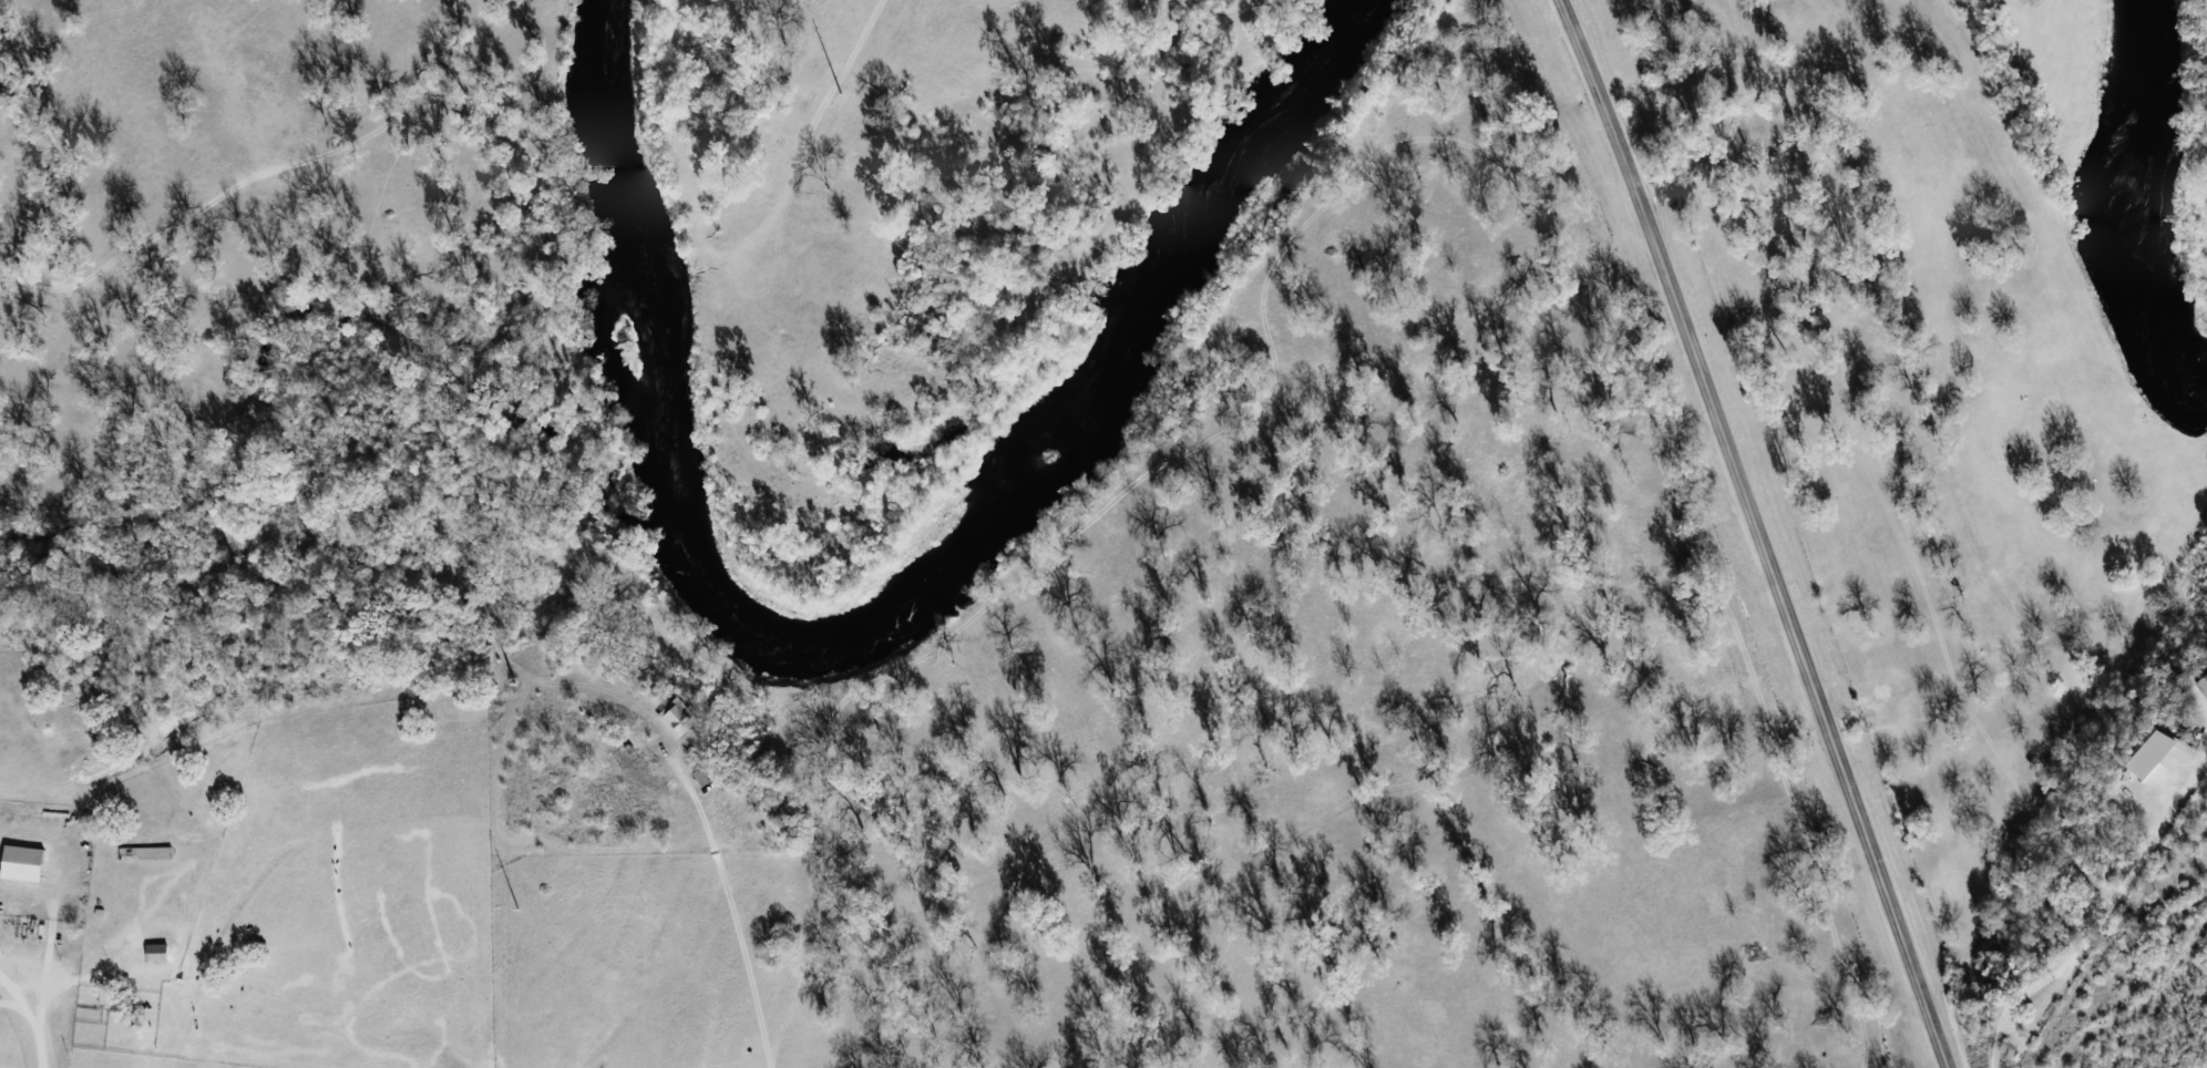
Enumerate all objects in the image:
power tower: (841, 95)
river: (2134, 187)
road: (1761, 532)
river: (884, 608)
power tower: (514, 684)
building: (2201, 684)
building: (679, 721)
building: (20, 863)
power tower: (517, 908)
road: (730, 910)
road: (2100, 918)
road: (48, 949)
building: (155, 953)
road: (45, 1005)

